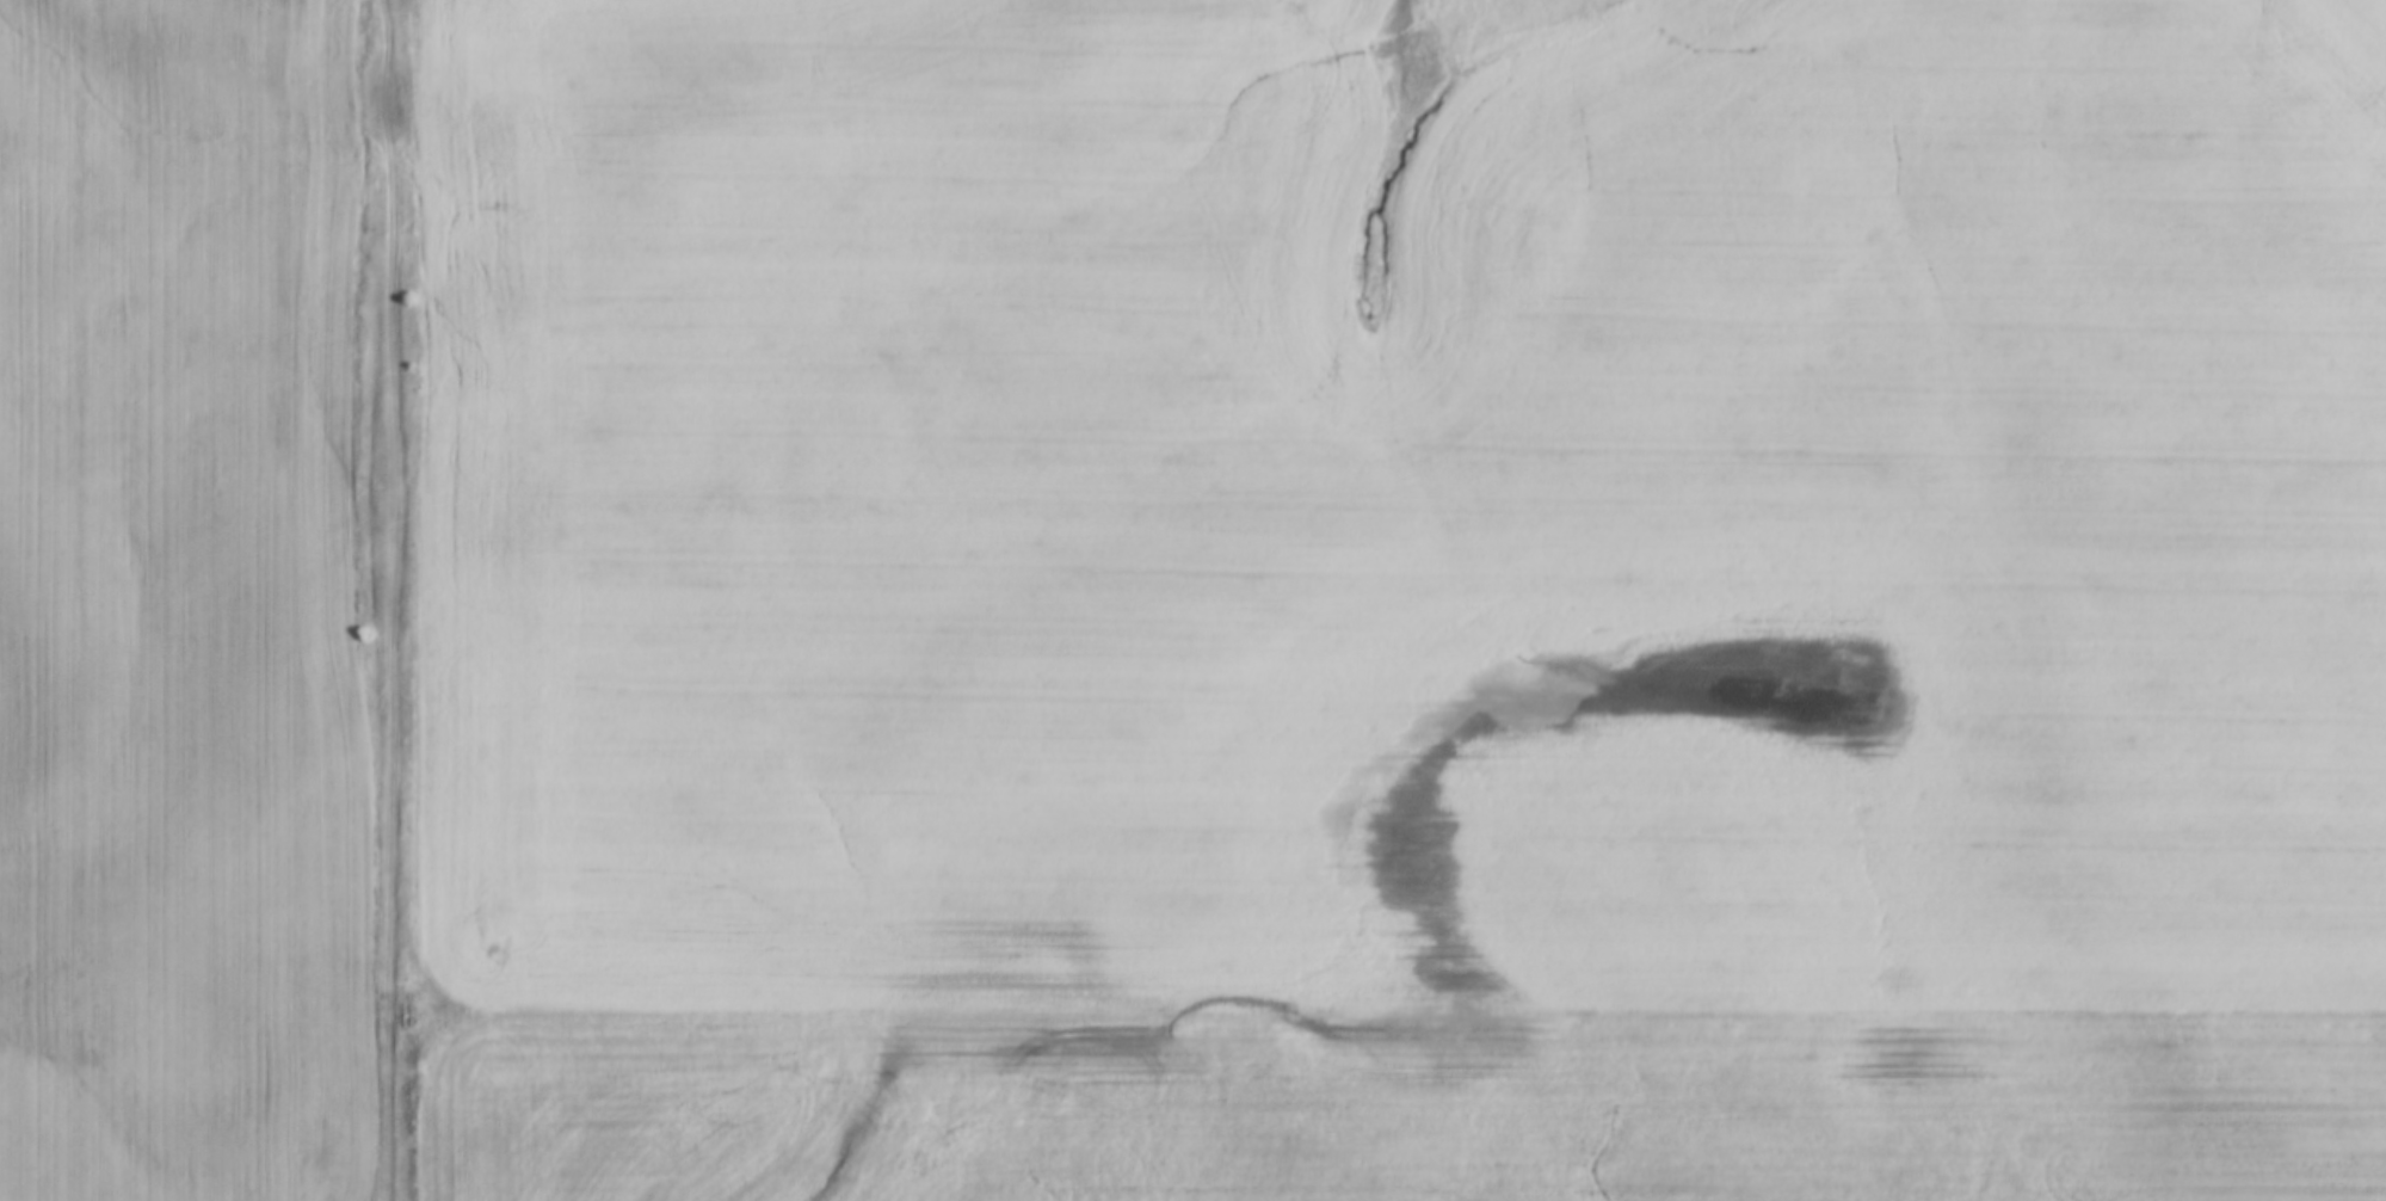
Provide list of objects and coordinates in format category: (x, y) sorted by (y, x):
road: (393, 599)

